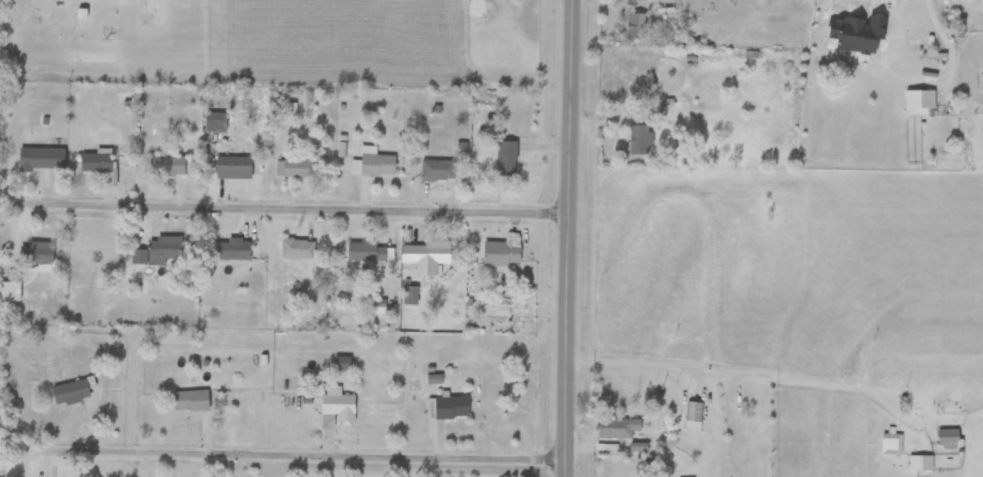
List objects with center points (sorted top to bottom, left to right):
road: (966, 6)
building: (981, 8)
building: (634, 26)
road: (659, 71)
building: (982, 81)
road: (922, 86)
road: (620, 113)
building: (215, 123)
building: (641, 140)
building: (506, 158)
building: (42, 159)
building: (96, 163)
building: (377, 165)
building: (166, 166)
building: (236, 168)
building: (300, 169)
building: (437, 171)
road: (296, 201)
road: (568, 238)
building: (297, 249)
building: (231, 250)
building: (160, 252)
building: (366, 252)
building: (36, 253)
building: (501, 254)
building: (426, 257)
building: (10, 291)
building: (411, 296)
building: (342, 364)
road: (735, 373)
building: (70, 392)
building: (191, 401)
building: (338, 405)
building: (448, 408)
building: (693, 416)
building: (618, 427)
building: (948, 438)
building: (891, 445)
road: (22, 447)
road: (310, 450)
building: (920, 464)

